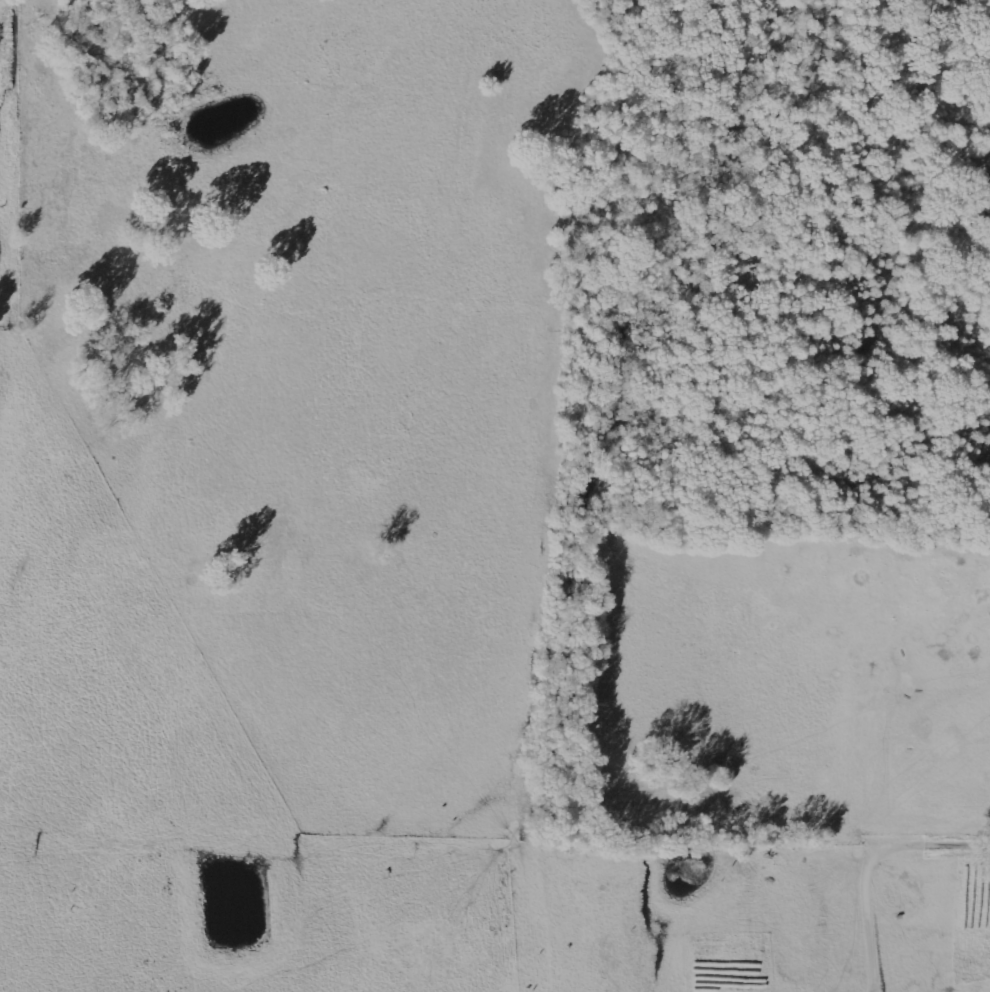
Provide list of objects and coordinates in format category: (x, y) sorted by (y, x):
road: (968, 848)

